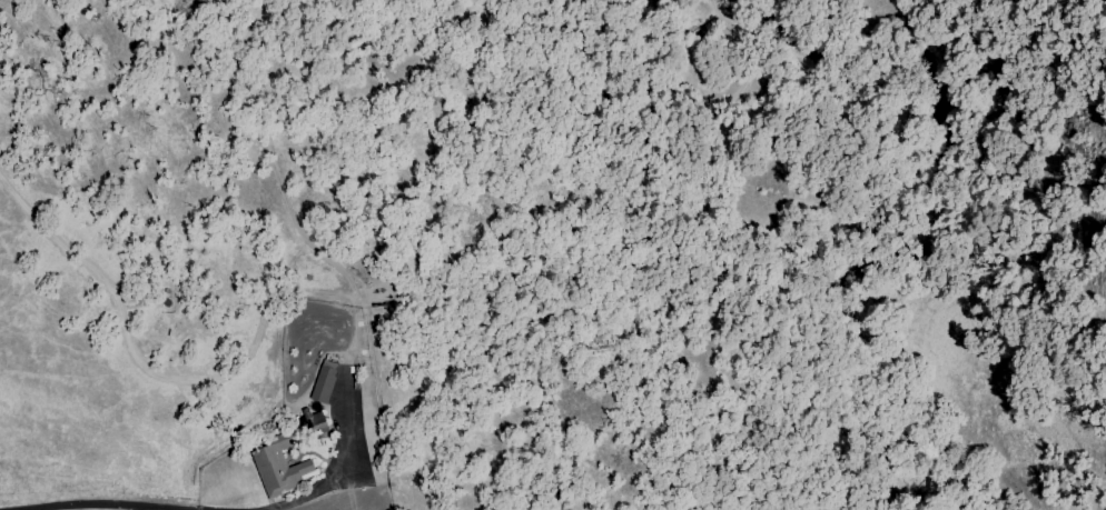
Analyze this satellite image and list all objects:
building: (323, 383)
building: (315, 419)
building: (277, 467)
road: (285, 502)
road: (130, 508)

